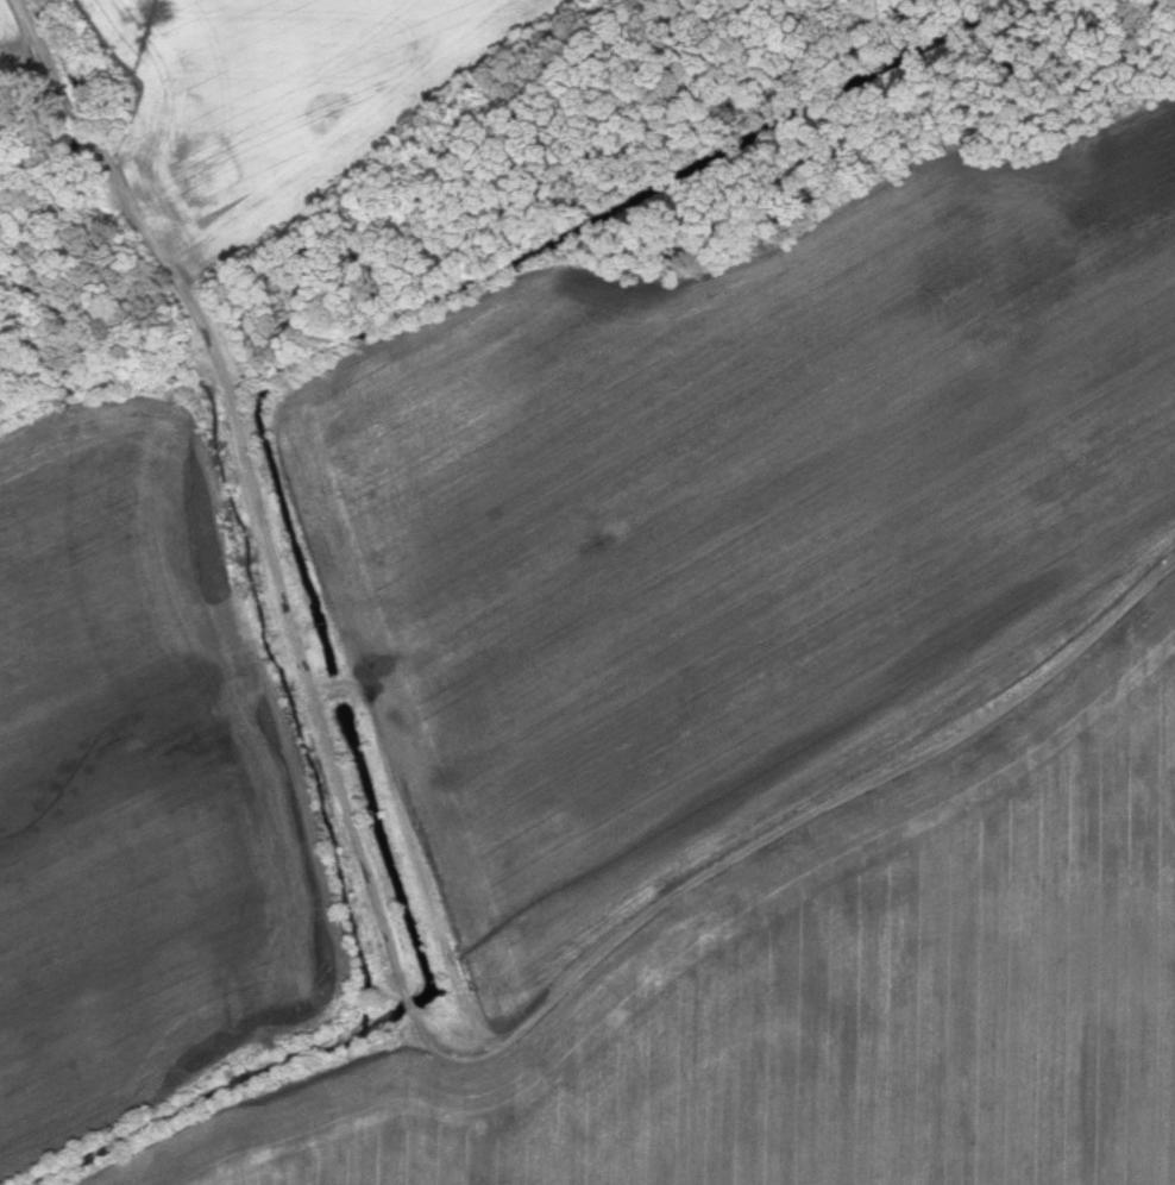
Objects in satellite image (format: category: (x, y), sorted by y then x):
road: (107, 159)
road: (426, 171)
road: (497, 1051)

